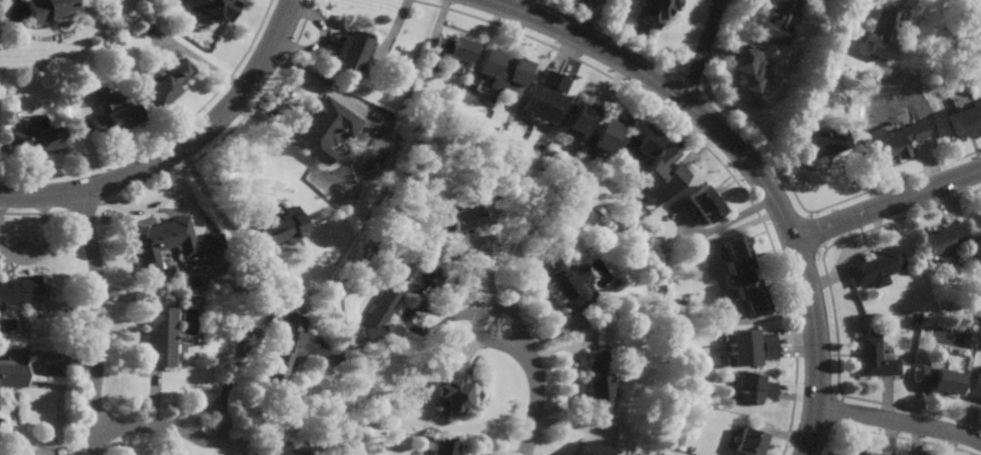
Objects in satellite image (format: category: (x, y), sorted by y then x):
road: (896, 1)
building: (214, 9)
building: (49, 10)
building: (654, 10)
building: (777, 21)
building: (881, 33)
building: (452, 47)
building: (349, 48)
road: (705, 52)
building: (747, 65)
building: (499, 70)
building: (166, 80)
building: (956, 87)
building: (101, 95)
building: (544, 97)
building: (116, 115)
building: (966, 118)
building: (323, 126)
building: (606, 126)
building: (38, 135)
building: (818, 139)
building: (894, 140)
building: (638, 142)
road: (181, 149)
road: (745, 162)
building: (658, 174)
road: (204, 192)
building: (701, 203)
road: (887, 205)
building: (458, 215)
building: (281, 225)
building: (164, 240)
building: (944, 240)
building: (875, 267)
building: (741, 275)
building: (565, 284)
building: (22, 289)
building: (398, 294)
road: (482, 313)
road: (100, 322)
building: (162, 336)
building: (748, 347)
building: (293, 348)
building: (874, 358)
building: (12, 375)
building: (939, 379)
building: (596, 382)
building: (976, 385)
building: (753, 387)
building: (453, 396)
road: (539, 396)
road: (898, 421)
road: (162, 425)
building: (749, 442)
building: (446, 447)
building: (589, 449)
building: (277, 450)
building: (301, 452)
building: (856, 453)

